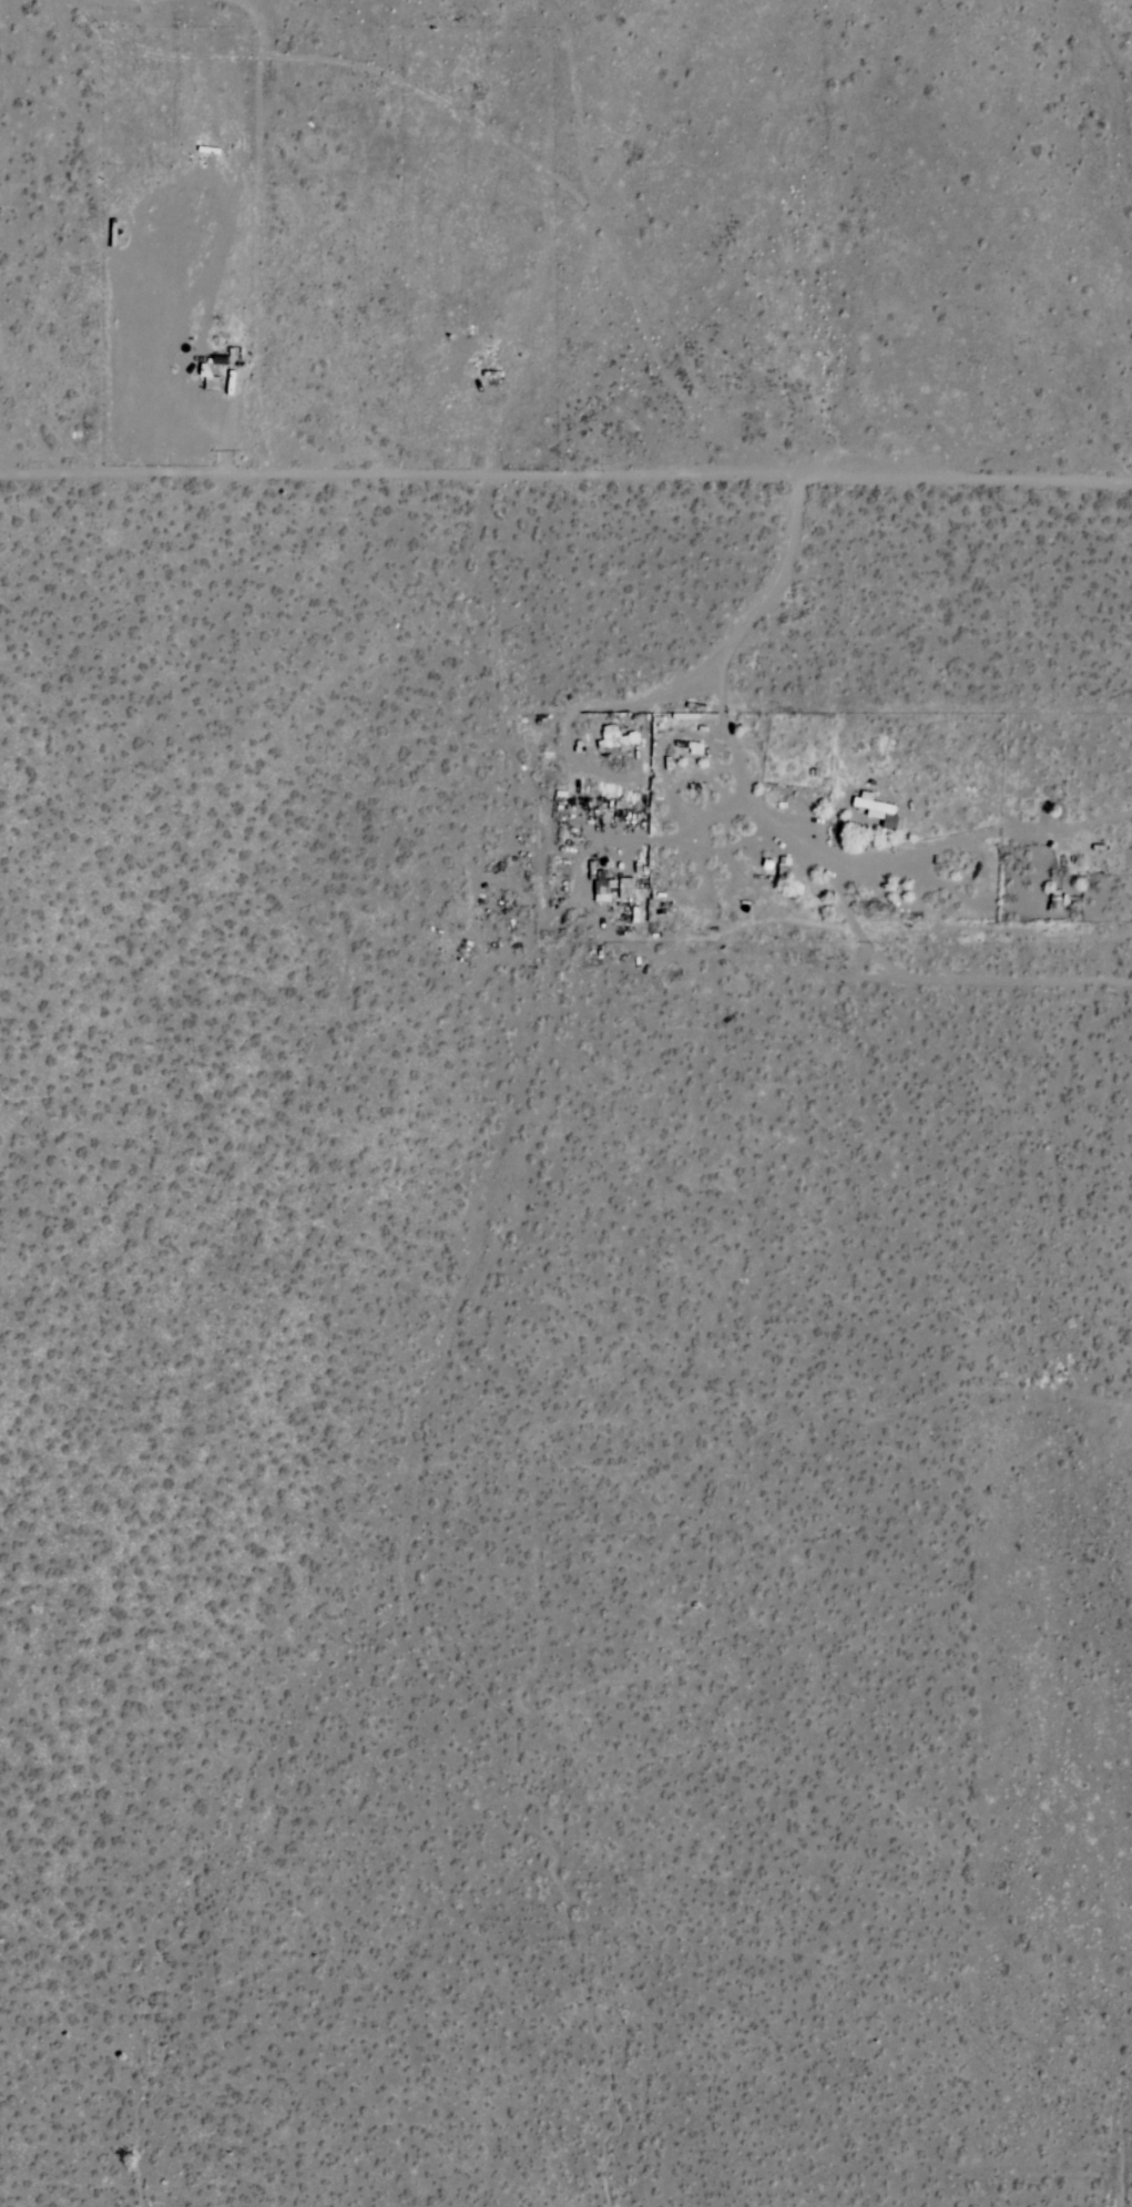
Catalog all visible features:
road: (116, 0)
road: (553, 175)
road: (565, 479)
road: (772, 585)
building: (614, 736)
building: (877, 809)
road: (782, 832)
road: (978, 832)
building: (603, 886)
road: (587, 901)
road: (1009, 978)

